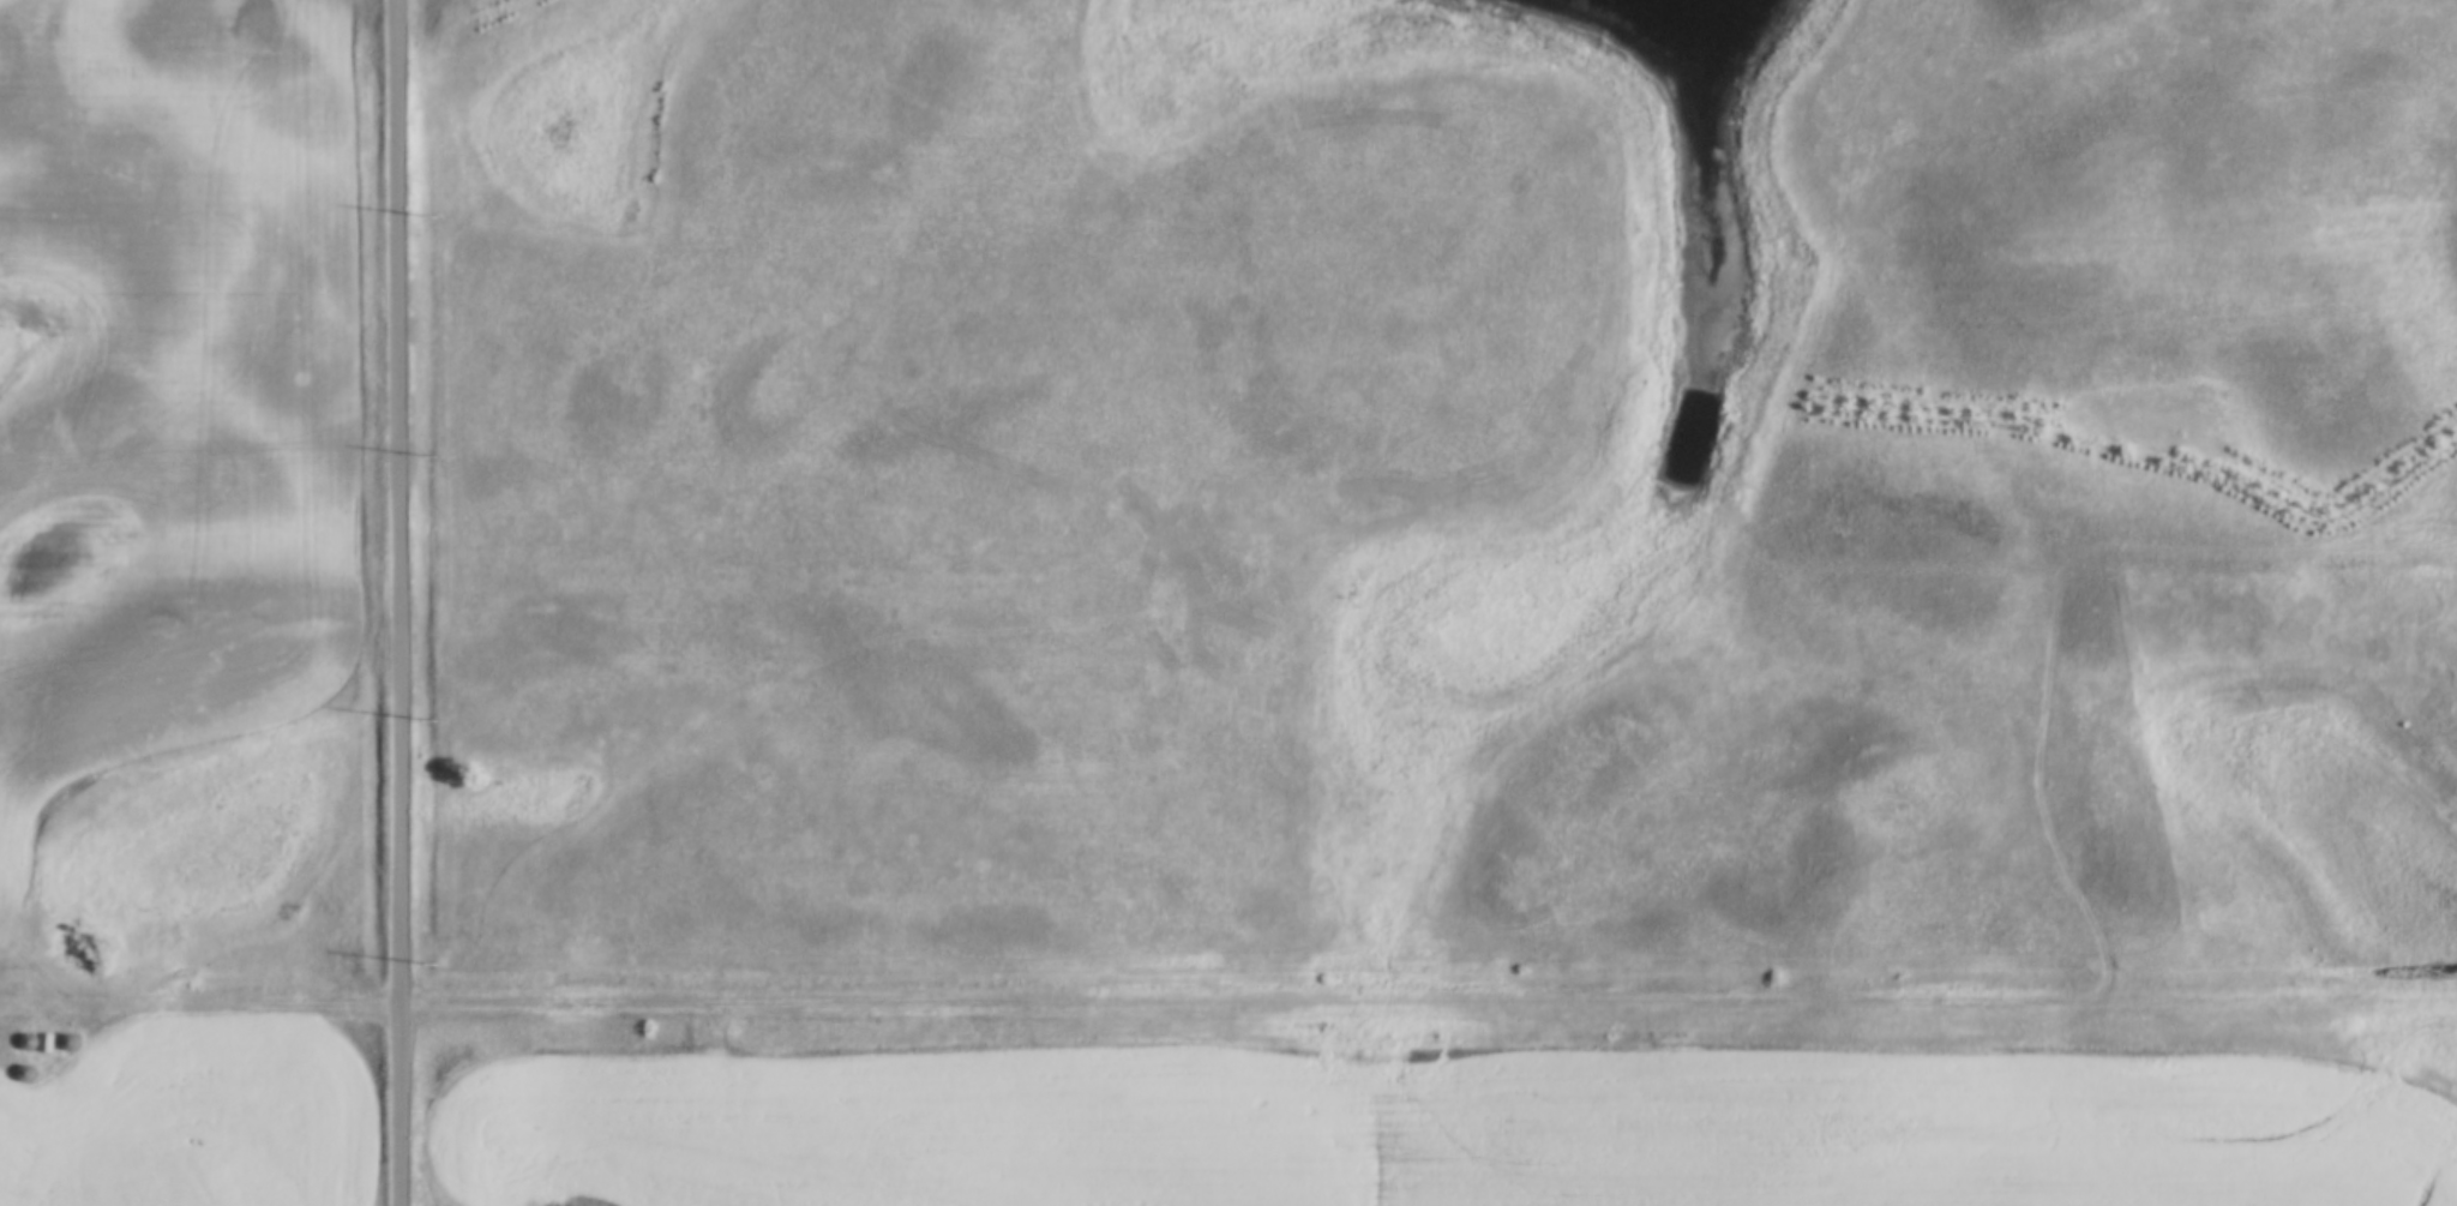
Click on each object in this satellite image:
road: (401, 602)
road: (1227, 1003)

